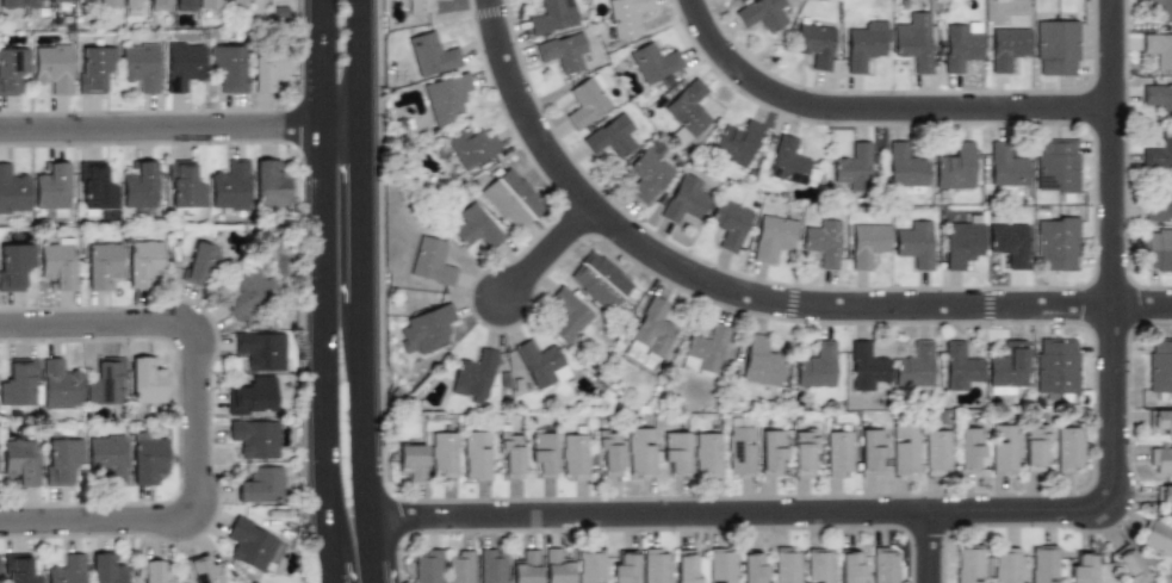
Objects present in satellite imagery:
building: (60, 0)
building: (83, 1)
building: (236, 1)
building: (35, 2)
building: (10, 4)
building: (110, 4)
building: (209, 4)
building: (134, 5)
building: (160, 5)
building: (184, 5)
building: (422, 6)
building: (1159, 8)
building: (764, 13)
building: (551, 15)
building: (628, 15)
building: (913, 44)
building: (814, 45)
building: (867, 45)
building: (960, 45)
building: (1056, 46)
building: (1007, 49)
building: (1158, 50)
building: (430, 52)
building: (562, 52)
building: (655, 61)
building: (229, 64)
building: (139, 66)
building: (182, 66)
building: (51, 67)
building: (93, 67)
building: (12, 69)
building: (266, 72)
street lamp: (300, 87)
building: (447, 97)
building: (1157, 98)
building: (584, 103)
building: (688, 107)
road: (879, 108)
street lamp: (75, 111)
road: (186, 128)
building: (610, 136)
building: (736, 141)
street lamp: (211, 147)
building: (471, 147)
building: (1158, 153)
building: (790, 161)
building: (955, 165)
building: (854, 166)
building: (1006, 166)
building: (1056, 166)
building: (906, 168)
building: (645, 175)
building: (269, 184)
building: (139, 185)
building: (184, 185)
building: (229, 185)
building: (51, 186)
building: (94, 186)
building: (13, 190)
building: (510, 197)
building: (684, 199)
building: (1160, 201)
building: (727, 223)
building: (472, 227)
building: (773, 237)
building: (962, 241)
building: (823, 242)
building: (914, 243)
building: (1007, 243)
building: (1056, 243)
building: (868, 244)
building: (1158, 249)
road: (548, 252)
road: (1114, 253)
building: (432, 260)
building: (58, 261)
building: (142, 261)
building: (200, 262)
building: (13, 263)
building: (100, 263)
building: (600, 280)
street lamp: (300, 281)
building: (247, 291)
road: (309, 291)
road: (374, 291)
road: (752, 296)
street lamp: (205, 306)
building: (566, 315)
building: (653, 329)
building: (426, 330)
street lamp: (45, 345)
building: (261, 349)
building: (705, 349)
building: (541, 362)
building: (761, 364)
building: (914, 364)
building: (817, 365)
building: (960, 365)
building: (1007, 365)
building: (1055, 365)
building: (1159, 365)
building: (867, 366)
building: (473, 374)
building: (147, 380)
building: (106, 382)
building: (19, 383)
building: (60, 383)
building: (253, 395)
building: (1160, 421)
street lamp: (180, 422)
road: (198, 422)
building: (254, 436)
building: (740, 447)
building: (804, 448)
building: (905, 448)
building: (1035, 448)
building: (1069, 448)
building: (870, 449)
building: (969, 449)
building: (1003, 449)
building: (641, 451)
building: (771, 451)
building: (936, 451)
building: (609, 452)
building: (675, 452)
building: (838, 453)
building: (444, 454)
building: (542, 454)
building: (576, 454)
building: (707, 454)
building: (148, 455)
building: (477, 455)
building: (510, 455)
building: (106, 457)
building: (61, 459)
building: (411, 459)
building: (1160, 459)
building: (20, 460)
street lamp: (303, 463)
building: (260, 484)
building: (1162, 496)
street lamp: (46, 503)
road: (746, 513)
road: (343, 535)
building: (1157, 537)
building: (254, 545)
street lamp: (179, 546)
road: (932, 547)
building: (968, 564)
building: (1043, 564)
building: (427, 565)
building: (558, 565)
building: (591, 565)
building: (656, 565)
building: (721, 565)
building: (786, 565)
building: (885, 565)
building: (1006, 565)
building: (1081, 565)
building: (491, 566)
building: (624, 566)
building: (687, 566)
building: (819, 566)
building: (851, 566)
building: (1129, 566)
building: (459, 568)
building: (526, 568)
building: (68, 569)
building: (106, 569)
building: (751, 569)
building: (20, 570)
building: (201, 570)
building: (153, 571)

